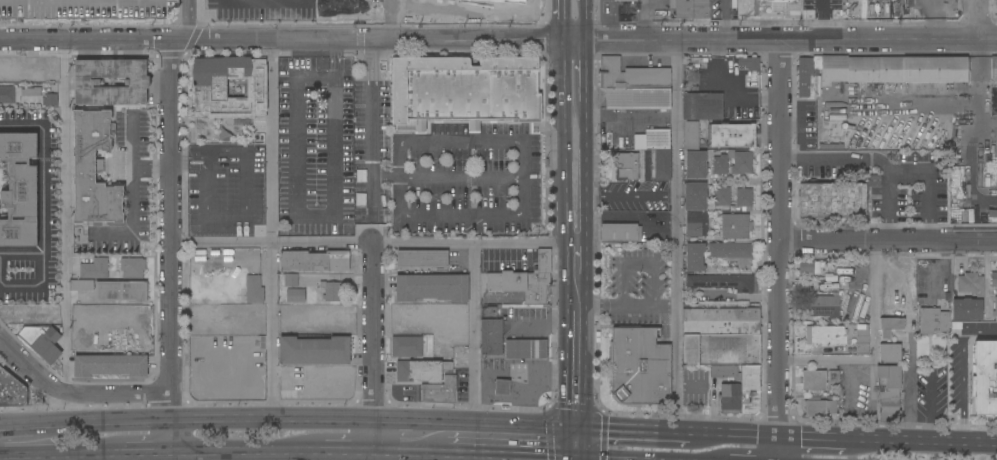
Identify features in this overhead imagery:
road: (80, 0)
building: (627, 0)
road: (350, 1)
road: (354, 3)
building: (483, 3)
building: (778, 4)
building: (690, 8)
building: (86, 9)
parking lot: (86, 9)
parking lot: (351, 10)
road: (587, 19)
road: (822, 19)
road: (981, 19)
road: (188, 20)
road: (563, 20)
road: (725, 20)
road: (575, 39)
road: (791, 39)
road: (281, 41)
building: (749, 63)
building: (9, 69)
building: (994, 69)
building: (876, 71)
building: (33, 74)
building: (694, 75)
building: (631, 76)
road: (586, 78)
building: (136, 82)
road: (978, 89)
building: (210, 90)
building: (464, 91)
building: (16, 94)
building: (639, 99)
building: (51, 100)
building: (702, 106)
road: (372, 108)
building: (692, 136)
building: (731, 136)
building: (652, 140)
road: (444, 141)
road: (562, 142)
parking lot: (316, 148)
road: (64, 151)
road: (870, 163)
building: (743, 164)
building: (663, 165)
building: (696, 165)
building: (625, 167)
building: (93, 170)
road: (151, 170)
parking lot: (441, 171)
road: (386, 176)
road: (480, 176)
road: (243, 180)
road: (586, 180)
parking lot: (226, 181)
parking lot: (131, 187)
road: (927, 188)
building: (19, 191)
road: (130, 194)
parking lot: (634, 196)
building: (695, 196)
building: (721, 196)
road: (372, 197)
road: (632, 197)
building: (744, 197)
building: (832, 200)
road: (42, 206)
building: (976, 213)
building: (992, 214)
building: (964, 215)
road: (463, 217)
building: (970, 217)
road: (320, 220)
building: (696, 224)
building: (735, 226)
road: (270, 232)
building: (619, 232)
road: (677, 238)
road: (888, 240)
road: (221, 241)
road: (483, 244)
road: (322, 245)
road: (171, 247)
road: (779, 250)
building: (733, 253)
road: (21, 258)
building: (694, 258)
building: (422, 259)
building: (314, 261)
road: (640, 265)
building: (806, 267)
building: (132, 268)
building: (94, 269)
road: (576, 271)
building: (820, 271)
building: (838, 278)
building: (994, 279)
building: (291, 280)
building: (526, 280)
building: (722, 282)
building: (971, 284)
building: (81, 286)
building: (431, 288)
building: (254, 289)
building: (332, 290)
building: (121, 291)
building: (300, 296)
road: (740, 296)
road: (626, 304)
building: (825, 306)
building: (995, 307)
building: (966, 309)
building: (207, 314)
building: (720, 321)
building: (933, 321)
building: (890, 326)
road: (66, 329)
building: (828, 335)
road: (474, 336)
building: (491, 337)
building: (861, 340)
building: (41, 341)
road: (874, 341)
road: (910, 345)
building: (406, 347)
road: (372, 349)
building: (525, 349)
gas station: (525, 349)
building: (721, 350)
building: (313, 351)
building: (890, 353)
road: (827, 360)
building: (110, 365)
road: (578, 367)
building: (640, 367)
building: (421, 371)
building: (725, 372)
road: (962, 373)
building: (833, 376)
building: (986, 378)
building: (813, 380)
building: (502, 388)
gas station: (502, 388)
building: (750, 390)
building: (11, 391)
building: (440, 391)
building: (888, 392)
road: (74, 394)
building: (730, 398)
building: (439, 404)
building: (814, 407)
building: (832, 408)
road: (215, 424)
road: (393, 425)
road: (30, 427)
road: (496, 429)
traffic signals: (579, 432)
road: (641, 435)
road: (741, 439)
road: (827, 442)
road: (579, 445)
road: (936, 445)
road: (348, 451)
road: (249, 452)
road: (125, 453)
road: (408, 453)
road: (58, 454)
road: (19, 455)
road: (462, 455)
road: (257, 456)
road: (301, 456)
road: (39, 457)
road: (77, 457)
road: (529, 457)
road: (480, 458)
road: (578, 459)
traffic signals: (579, 459)
road: (589, 459)

